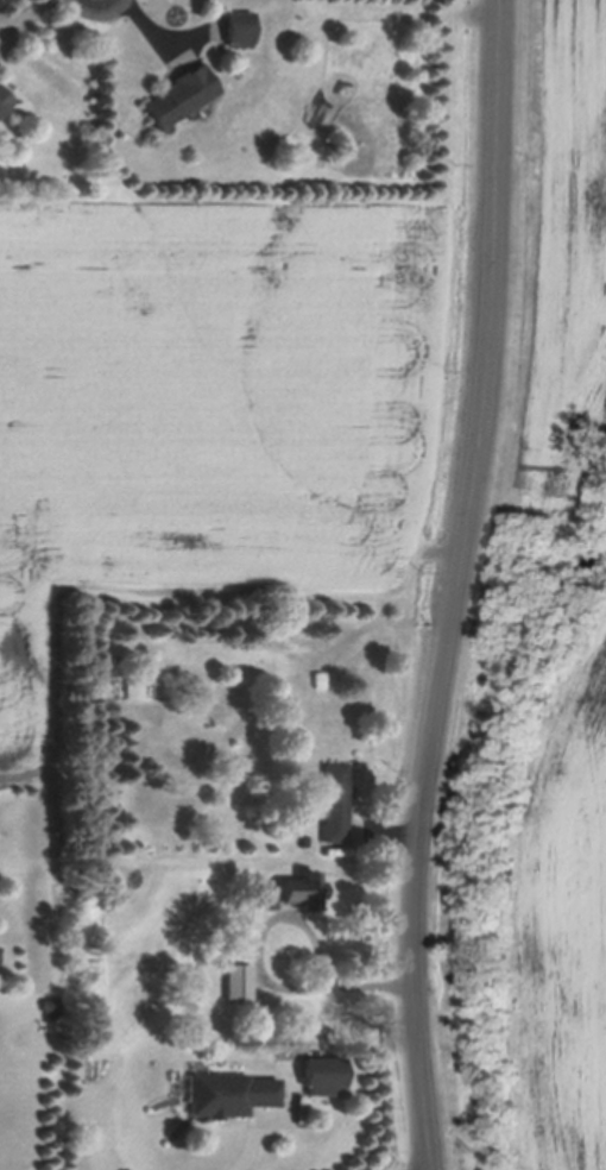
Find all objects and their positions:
building: (238, 30)
building: (179, 97)
building: (4, 102)
road: (456, 585)
building: (333, 806)
building: (301, 845)
building: (332, 856)
building: (298, 897)
building: (266, 904)
building: (242, 957)
road: (258, 976)
building: (239, 995)
building: (48, 1008)
building: (318, 1082)
building: (226, 1100)

